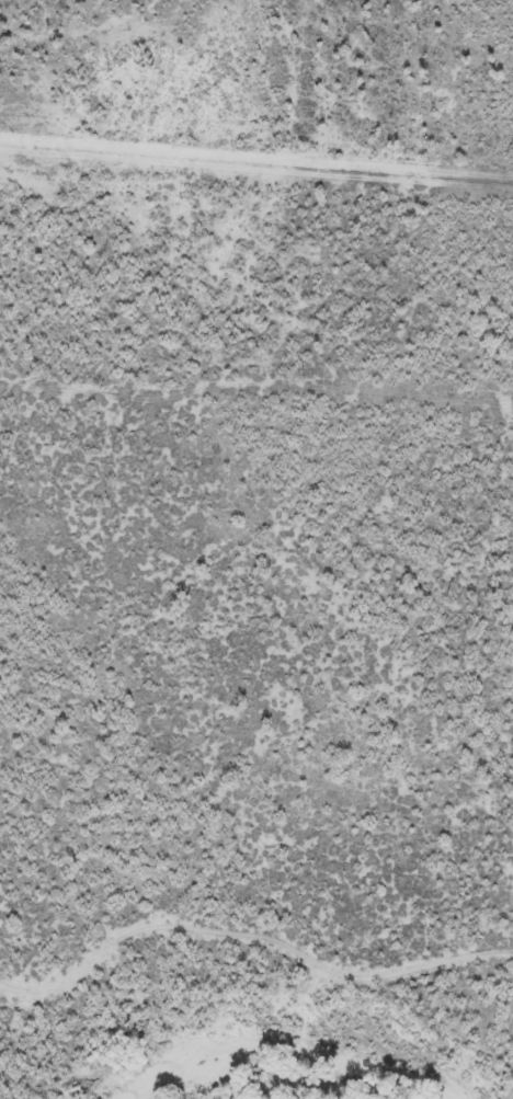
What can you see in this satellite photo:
road: (255, 950)

